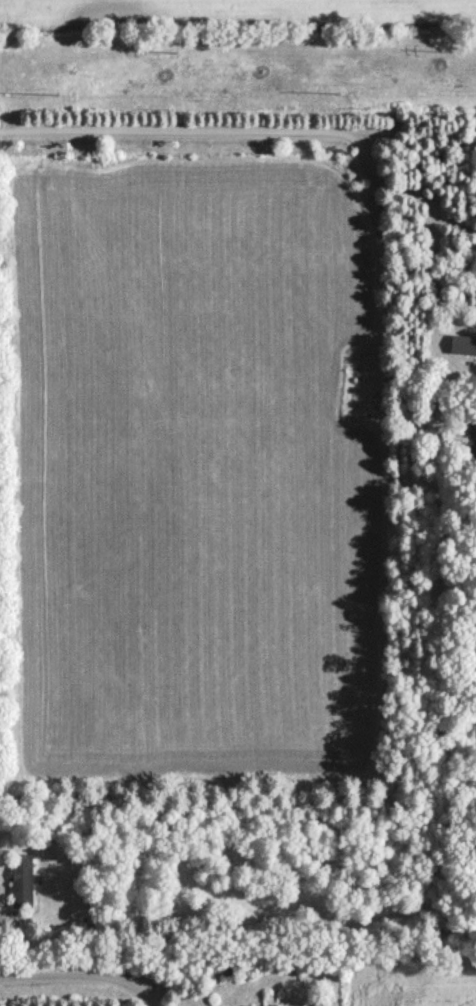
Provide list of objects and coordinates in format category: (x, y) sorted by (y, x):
power tower: (175, 55)
power tower: (450, 55)
power tower: (337, 96)
power tower: (56, 97)
road: (255, 129)
road: (444, 280)
building: (463, 344)
road: (463, 364)
building: (21, 880)
road: (78, 974)
building: (273, 1004)
building: (249, 1005)

